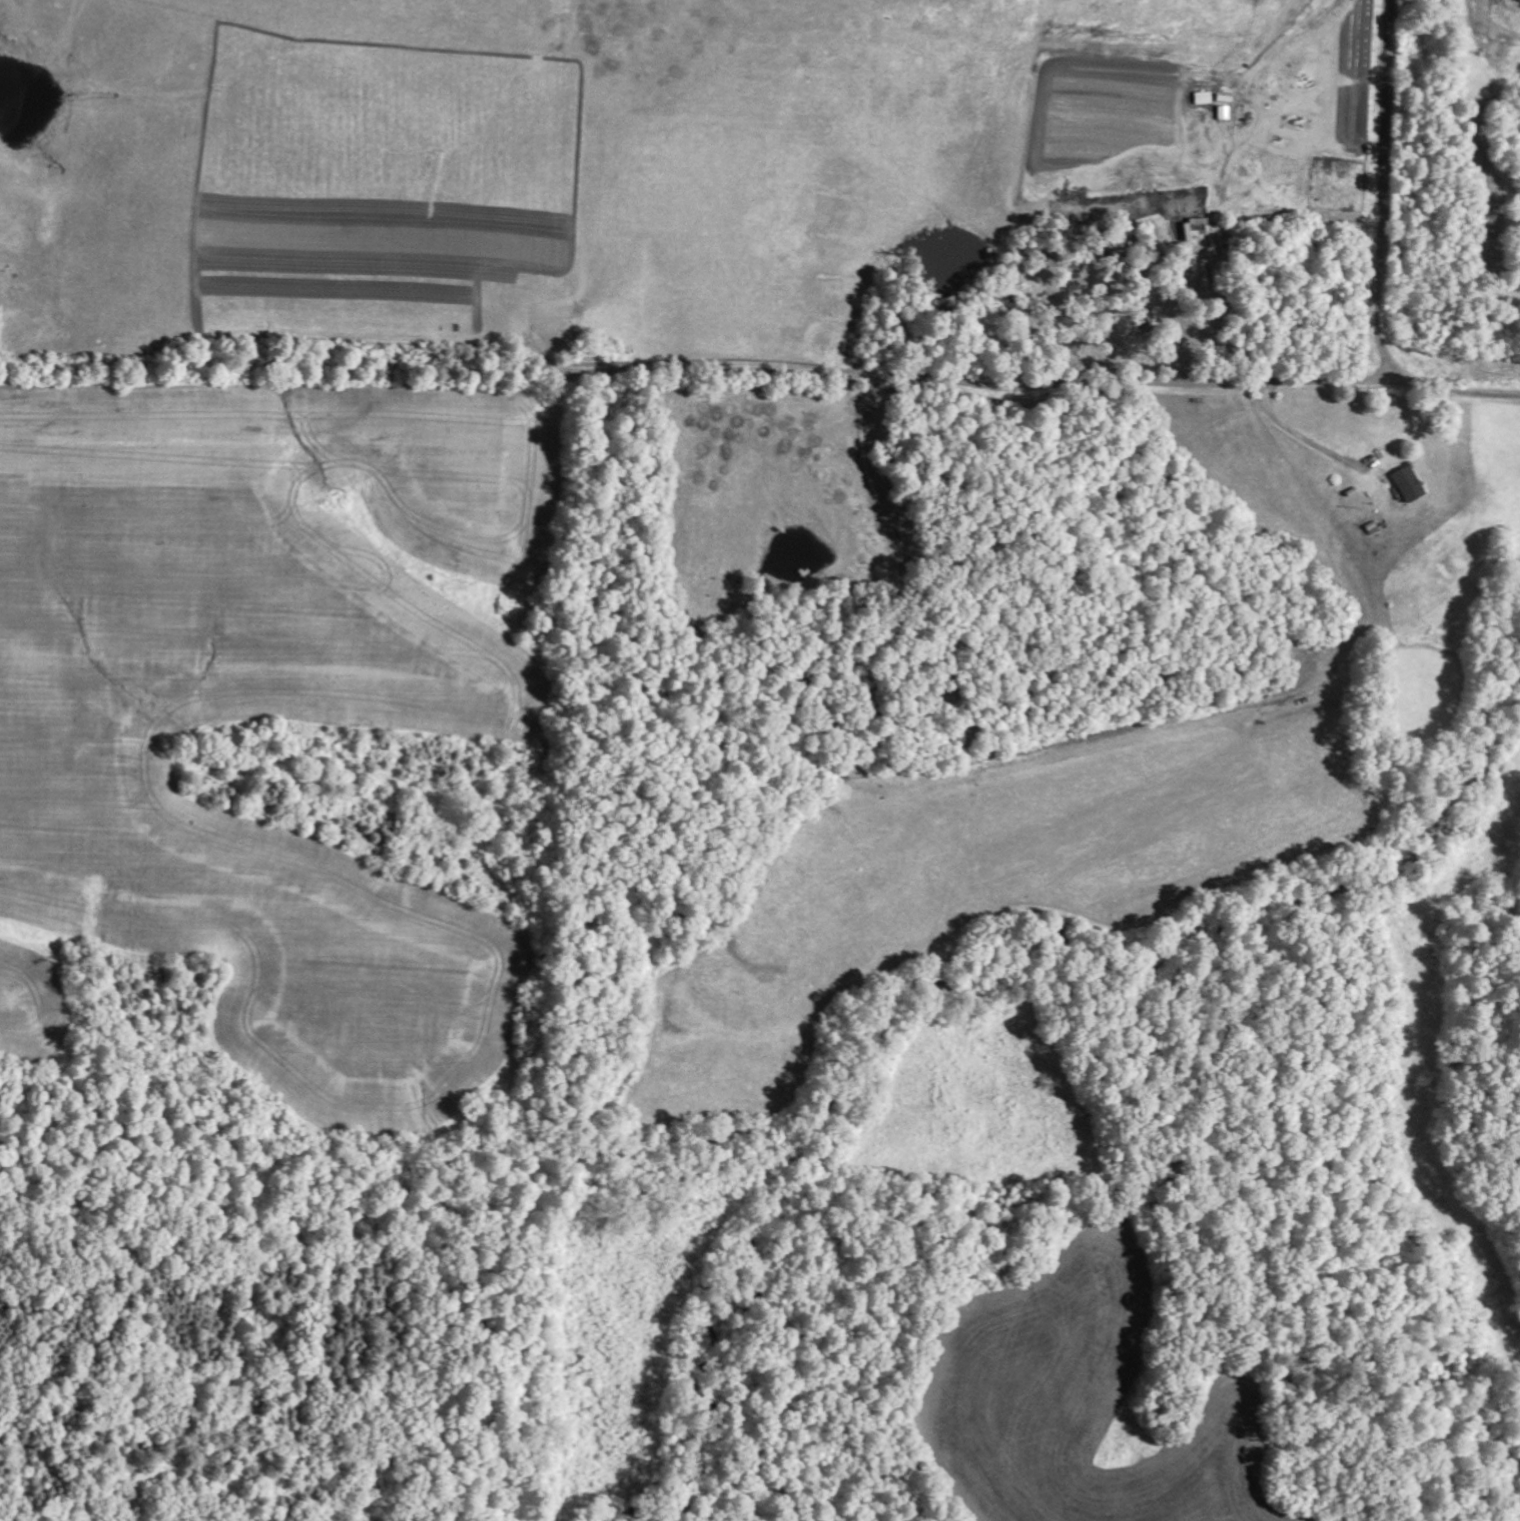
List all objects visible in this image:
building: (1201, 99)
road: (1384, 248)
building: (1410, 485)

